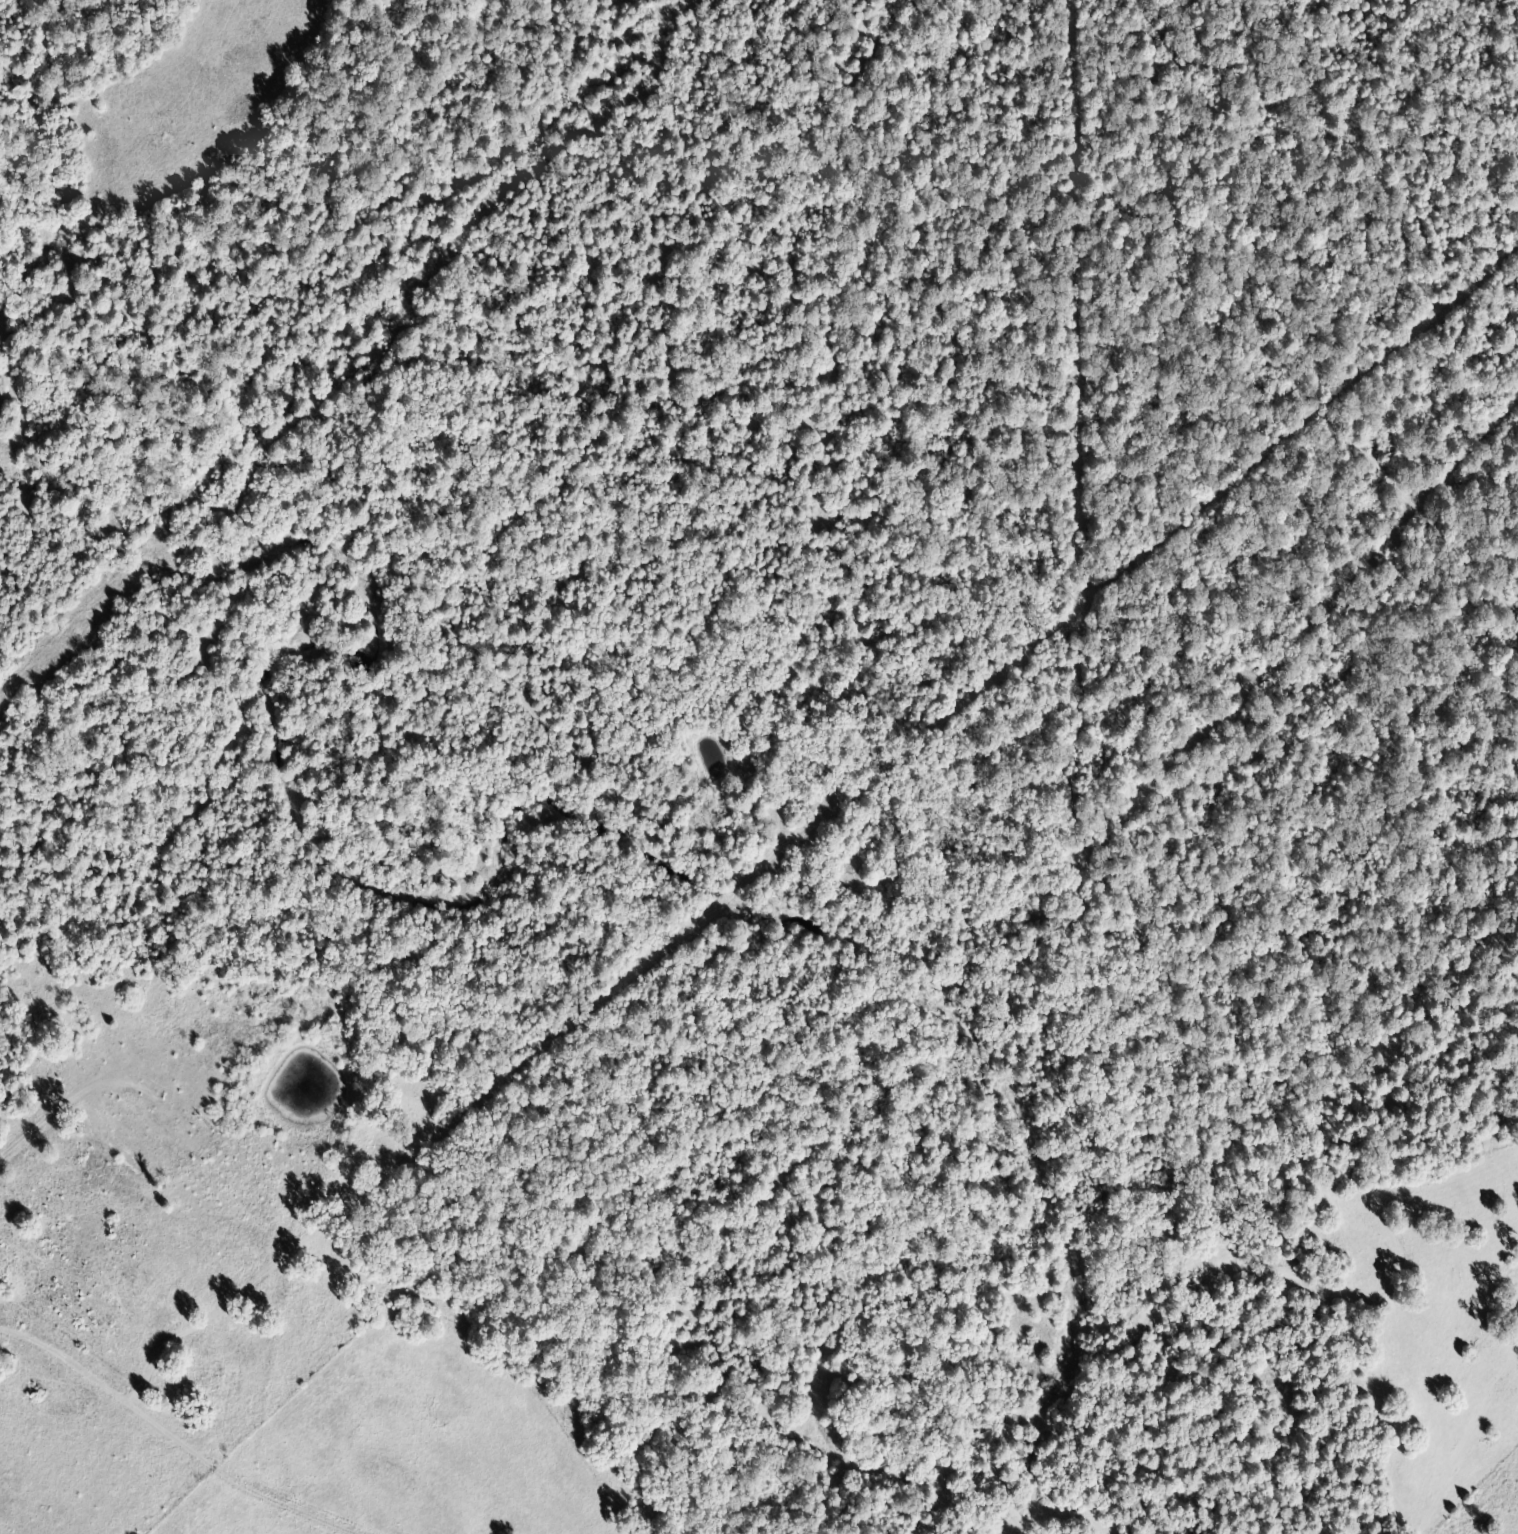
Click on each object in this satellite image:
road: (57, 1114)

